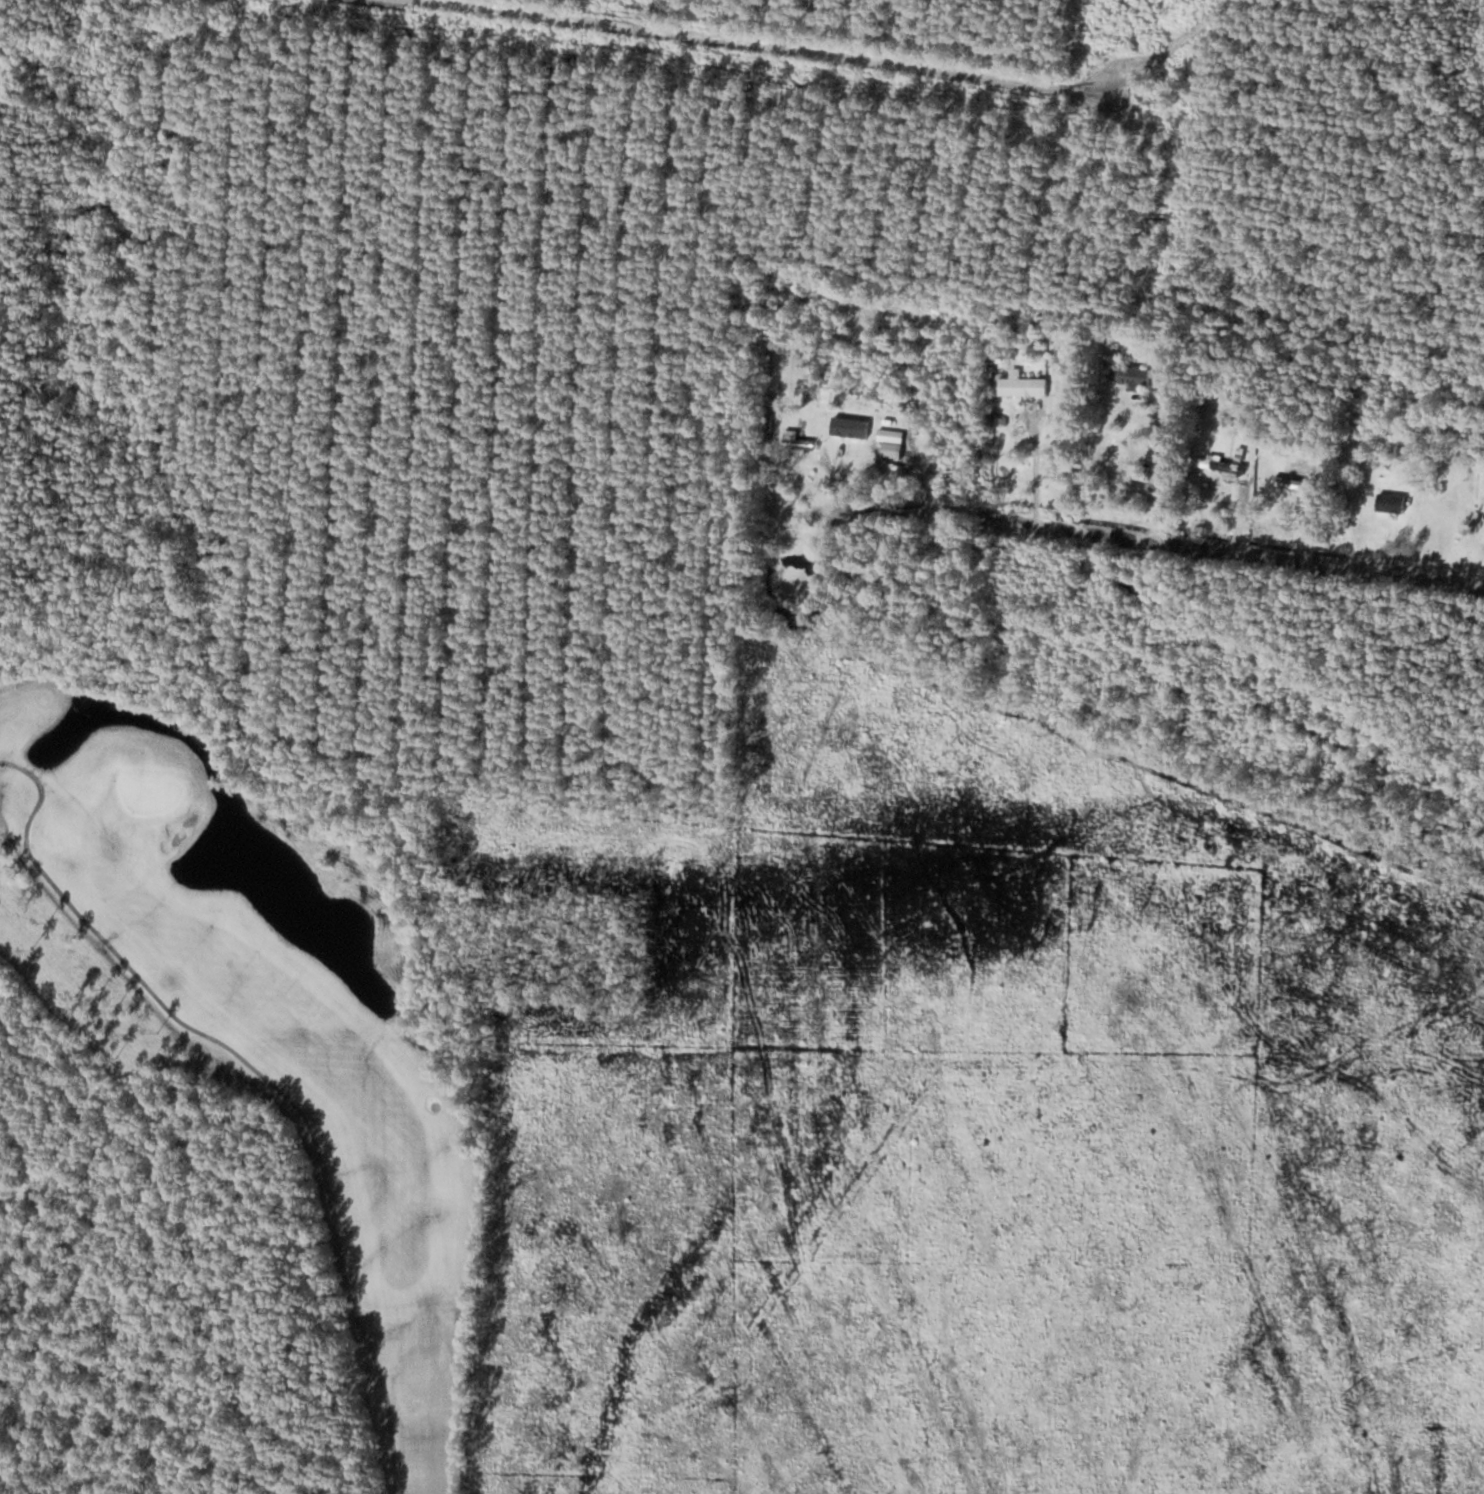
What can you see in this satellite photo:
road: (752, 43)
building: (1129, 374)
building: (1022, 385)
building: (884, 433)
building: (797, 442)
building: (1222, 465)
building: (1389, 502)
road: (1234, 556)

